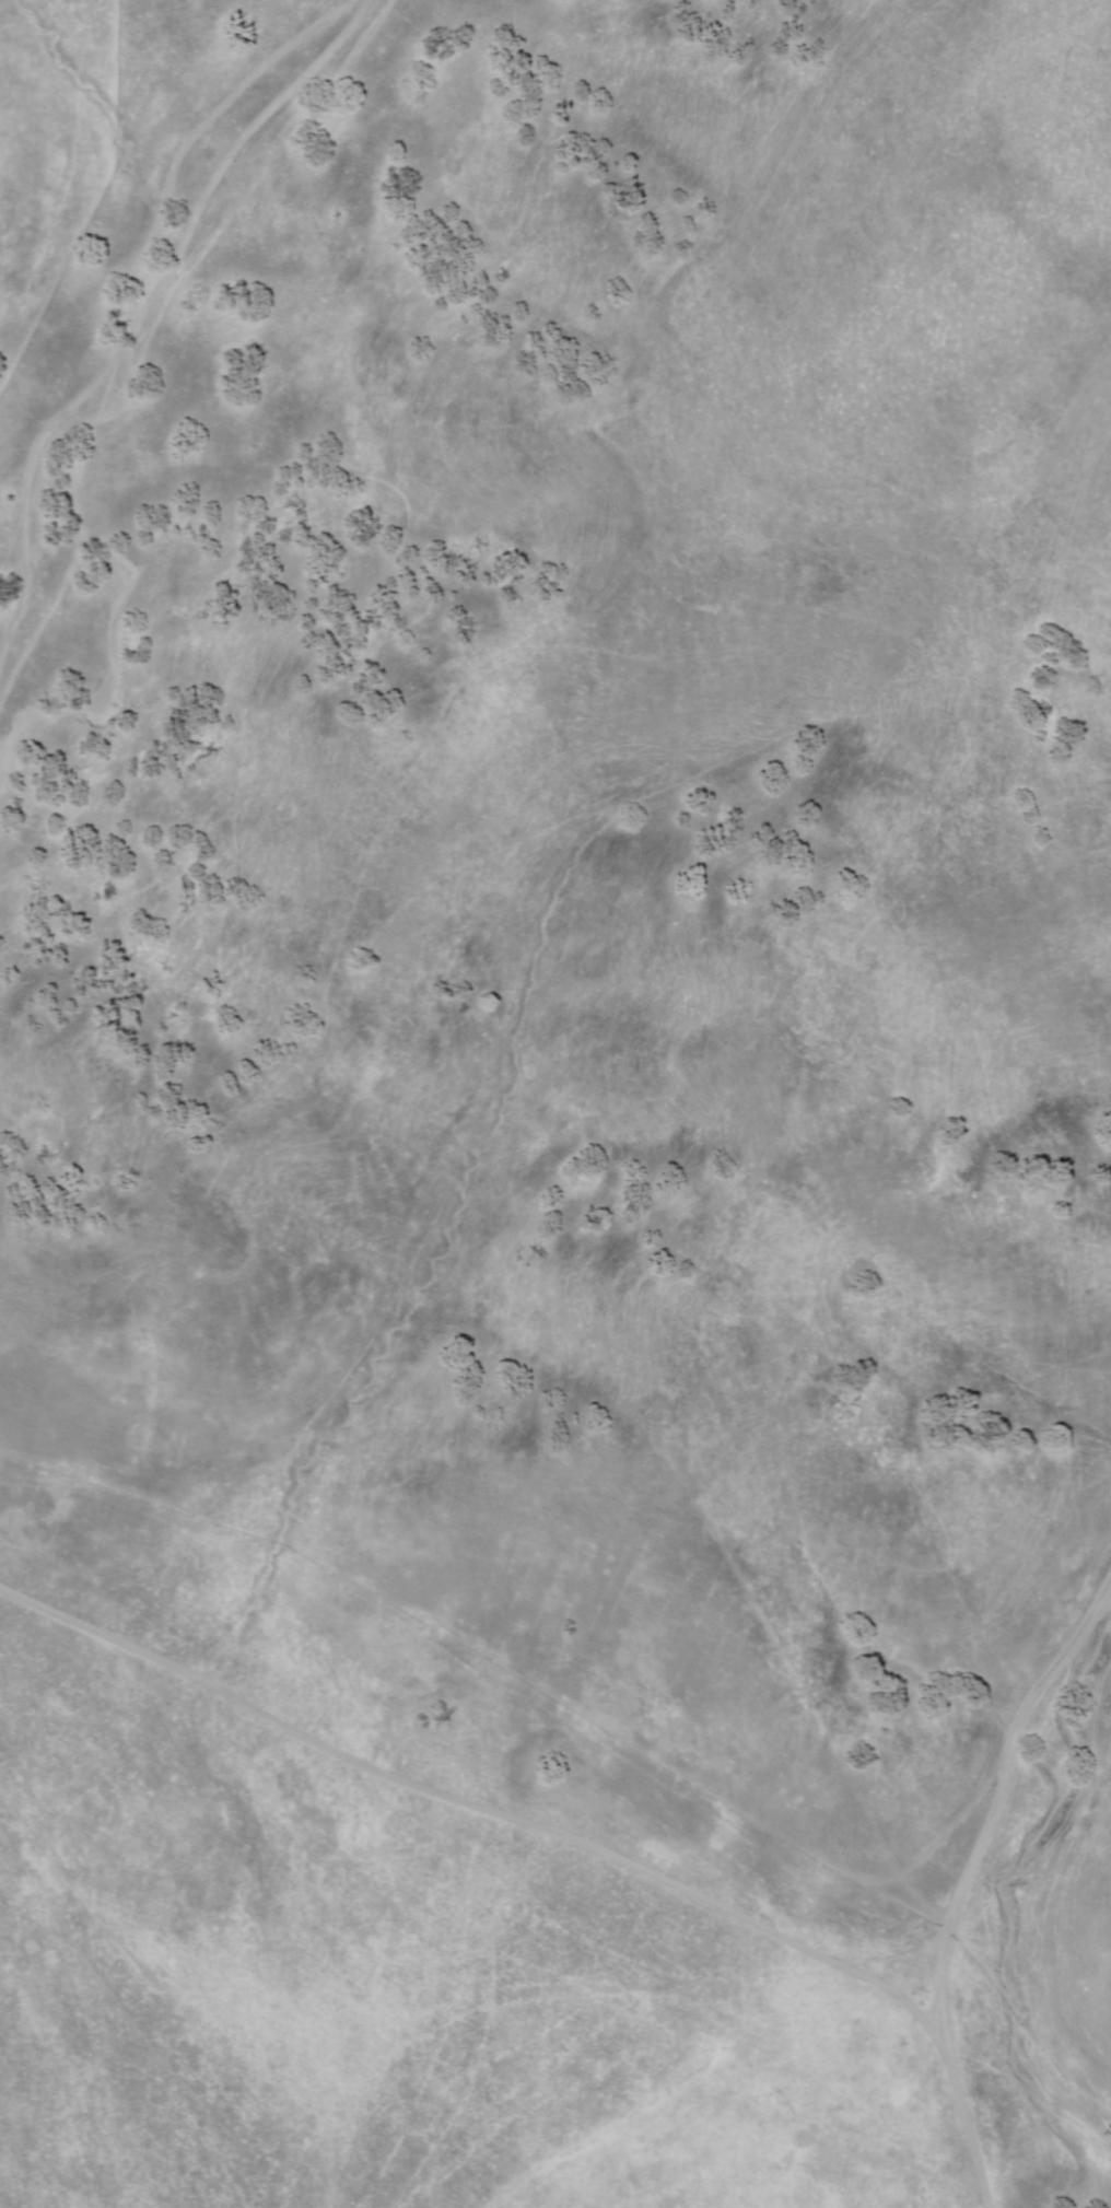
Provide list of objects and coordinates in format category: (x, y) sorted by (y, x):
road: (153, 283)
road: (538, 1655)
road: (495, 1855)
road: (966, 1872)

